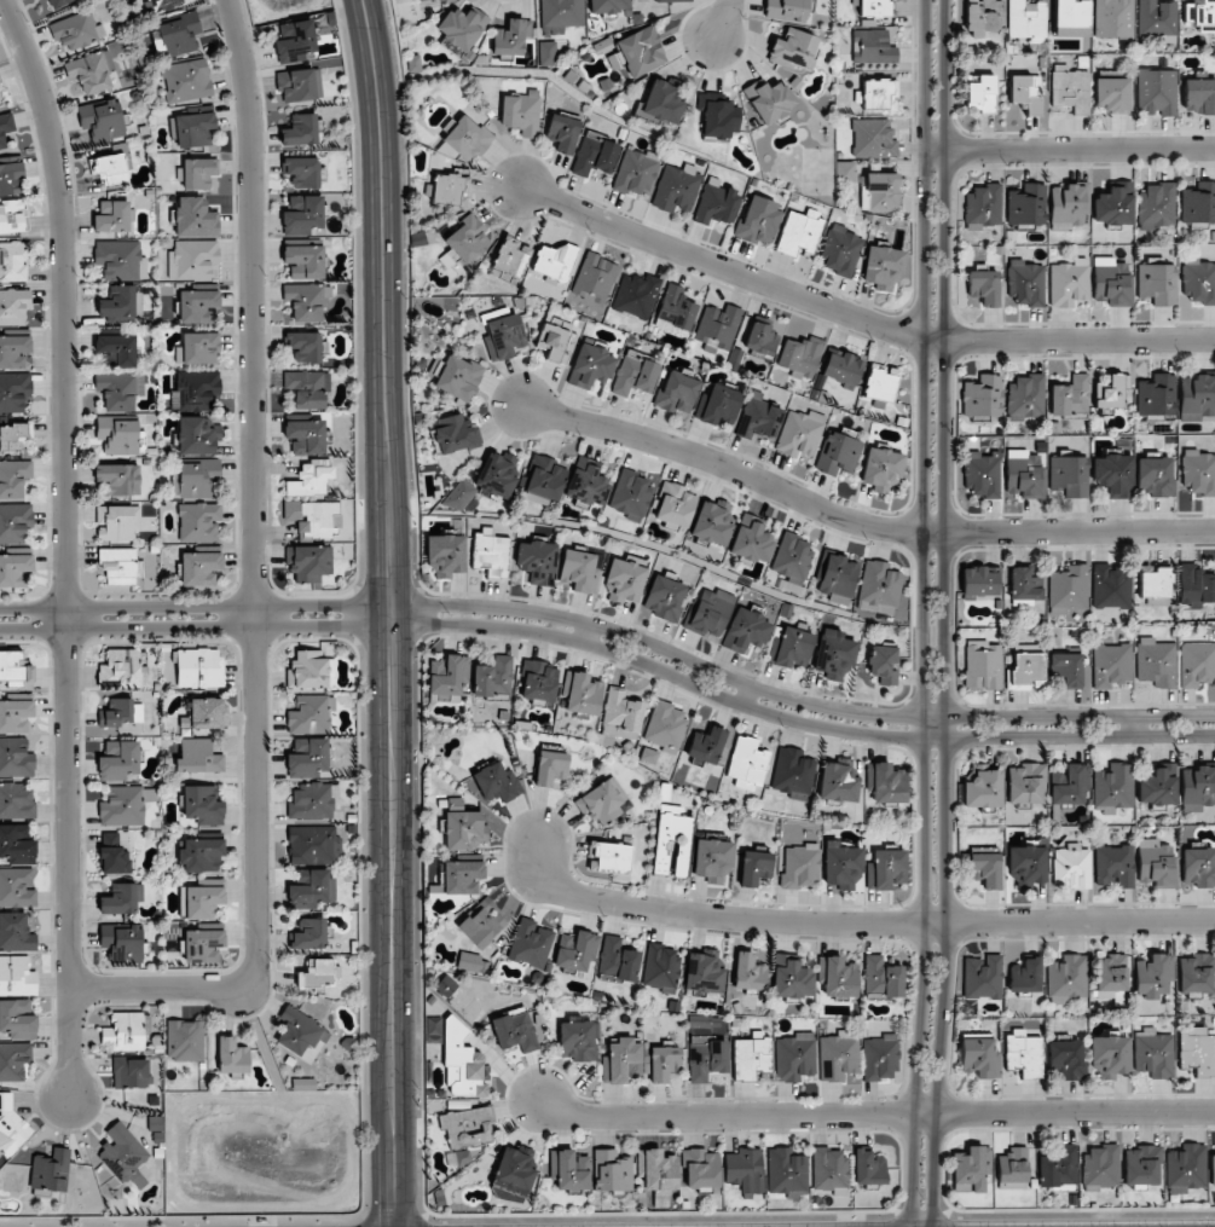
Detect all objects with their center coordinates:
building: (424, 0)
building: (673, 0)
building: (58, 2)
building: (163, 4)
building: (608, 6)
building: (873, 7)
building: (786, 10)
building: (561, 13)
building: (1200, 15)
building: (983, 17)
building: (1070, 18)
building: (1113, 18)
road: (719, 19)
building: (1157, 19)
building: (1026, 21)
building: (462, 29)
building: (285, 30)
building: (74, 31)
building: (179, 34)
building: (511, 37)
building: (296, 42)
building: (873, 47)
building: (792, 50)
building: (641, 51)
building: (548, 53)
building: (89, 73)
building: (186, 81)
building: (300, 85)
building: (1071, 89)
building: (1026, 92)
building: (1157, 92)
building: (875, 94)
building: (1112, 94)
building: (1, 96)
building: (980, 96)
building: (1199, 96)
building: (769, 99)
building: (665, 100)
building: (521, 112)
building: (719, 117)
building: (102, 120)
building: (196, 131)
building: (300, 131)
building: (562, 132)
building: (873, 139)
road: (1074, 150)
building: (595, 155)
building: (110, 168)
building: (302, 172)
building: (845, 172)
building: (198, 173)
building: (636, 173)
building: (11, 178)
building: (676, 187)
building: (450, 190)
building: (880, 191)
building: (717, 203)
building: (1156, 203)
building: (1199, 203)
building: (1026, 204)
building: (983, 206)
building: (1069, 206)
building: (1115, 206)
building: (302, 214)
building: (13, 216)
building: (112, 216)
building: (195, 218)
building: (758, 220)
building: (799, 231)
building: (464, 242)
building: (840, 250)
building: (511, 256)
building: (192, 259)
building: (13, 260)
building: (120, 260)
building: (303, 261)
building: (555, 261)
building: (881, 267)
building: (596, 276)
building: (1198, 280)
building: (1112, 282)
building: (1025, 283)
building: (1069, 283)
building: (1157, 283)
building: (983, 288)
building: (635, 295)
building: (306, 301)
building: (120, 305)
building: (13, 306)
building: (198, 307)
building: (676, 309)
road: (860, 320)
building: (717, 326)
building: (503, 337)
building: (760, 338)
building: (556, 340)
building: (305, 346)
building: (117, 348)
building: (199, 348)
building: (13, 351)
building: (799, 357)
building: (590, 364)
building: (841, 369)
building: (635, 375)
building: (459, 378)
building: (880, 382)
building: (307, 388)
building: (120, 389)
building: (15, 390)
building: (196, 390)
building: (1111, 390)
building: (676, 392)
building: (1157, 395)
building: (982, 397)
building: (1197, 397)
building: (1070, 398)
building: (1025, 399)
building: (719, 405)
building: (758, 417)
building: (799, 433)
building: (455, 434)
building: (198, 435)
building: (306, 435)
building: (121, 436)
building: (12, 438)
building: (837, 453)
building: (881, 469)
building: (1198, 471)
building: (497, 474)
building: (982, 474)
building: (1024, 474)
building: (1113, 474)
building: (1069, 475)
building: (1155, 476)
building: (13, 478)
building: (118, 478)
building: (197, 479)
building: (309, 479)
building: (545, 481)
building: (588, 484)
building: (459, 496)
building: (630, 496)
building: (675, 504)
building: (312, 517)
building: (198, 521)
building: (712, 521)
building: (15, 522)
building: (117, 522)
road: (861, 523)
road: (66, 542)
building: (752, 542)
building: (490, 552)
building: (446, 555)
building: (793, 558)
building: (309, 562)
building: (537, 562)
building: (118, 566)
building: (199, 568)
building: (15, 569)
building: (579, 571)
building: (838, 578)
road: (256, 580)
building: (624, 581)
building: (979, 581)
building: (1155, 581)
building: (1024, 586)
building: (1111, 586)
building: (1196, 586)
building: (879, 588)
building: (1069, 589)
building: (664, 597)
road: (392, 612)
building: (710, 612)
road: (933, 613)
road: (613, 629)
building: (745, 631)
road: (590, 632)
road: (613, 647)
building: (792, 648)
building: (834, 656)
building: (1156, 662)
building: (884, 664)
building: (1197, 664)
building: (982, 665)
building: (1112, 665)
building: (1026, 667)
building: (121, 669)
building: (198, 669)
building: (1066, 669)
building: (15, 670)
building: (311, 670)
building: (449, 676)
building: (493, 678)
building: (538, 681)
building: (583, 694)
road: (750, 695)
building: (121, 712)
building: (311, 714)
building: (621, 714)
building: (15, 716)
building: (665, 725)
road: (1134, 725)
building: (706, 745)
building: (198, 757)
building: (16, 758)
building: (308, 758)
building: (118, 760)
building: (746, 763)
building: (550, 768)
building: (793, 772)
building: (497, 782)
building: (838, 782)
building: (887, 783)
building: (1025, 783)
building: (1069, 783)
building: (1158, 786)
building: (1113, 787)
building: (1198, 787)
building: (983, 789)
building: (17, 801)
building: (313, 801)
building: (600, 803)
building: (126, 805)
building: (202, 805)
building: (465, 829)
building: (672, 840)
building: (17, 844)
building: (313, 845)
building: (114, 855)
building: (201, 855)
building: (608, 857)
building: (713, 860)
building: (1026, 863)
building: (1157, 863)
building: (843, 864)
building: (1113, 866)
building: (754, 867)
building: (802, 867)
building: (1071, 867)
building: (1198, 867)
building: (887, 868)
building: (985, 868)
building: (302, 876)
building: (459, 876)
building: (17, 887)
building: (312, 891)
building: (121, 898)
building: (201, 901)
building: (480, 925)
road: (854, 926)
building: (16, 932)
building: (311, 933)
building: (122, 942)
building: (531, 943)
building: (203, 945)
building: (575, 950)
building: (617, 960)
building: (468, 961)
building: (661, 968)
building: (704, 972)
building: (748, 972)
building: (872, 972)
building: (316, 973)
building: (1111, 973)
building: (1196, 973)
building: (1152, 974)
building: (16, 976)
building: (1025, 976)
building: (982, 977)
building: (791, 978)
building: (839, 978)
building: (1068, 978)
building: (892, 982)
building: (17, 1018)
building: (433, 1030)
building: (515, 1030)
building: (126, 1031)
building: (300, 1031)
building: (185, 1040)
building: (578, 1041)
building: (705, 1051)
building: (1197, 1051)
building: (1024, 1053)
building: (1153, 1053)
building: (979, 1054)
building: (232, 1055)
building: (751, 1055)
building: (839, 1055)
building: (794, 1057)
building: (1110, 1057)
building: (880, 1058)
building: (1066, 1059)
building: (13, 1060)
building: (623, 1061)
building: (664, 1063)
building: (463, 1064)
building: (131, 1072)
building: (303, 1084)
road: (876, 1113)
building: (11, 1127)
building: (468, 1127)
building: (123, 1156)
building: (1057, 1165)
building: (1141, 1165)
building: (972, 1167)
building: (1100, 1167)
building: (868, 1168)
building: (1012, 1168)
building: (1186, 1168)
building: (700, 1169)
building: (51, 1170)
building: (568, 1170)
building: (656, 1170)
building: (744, 1170)
building: (829, 1170)
building: (1213, 1170)
building: (514, 1171)
building: (611, 1171)
building: (786, 1173)

